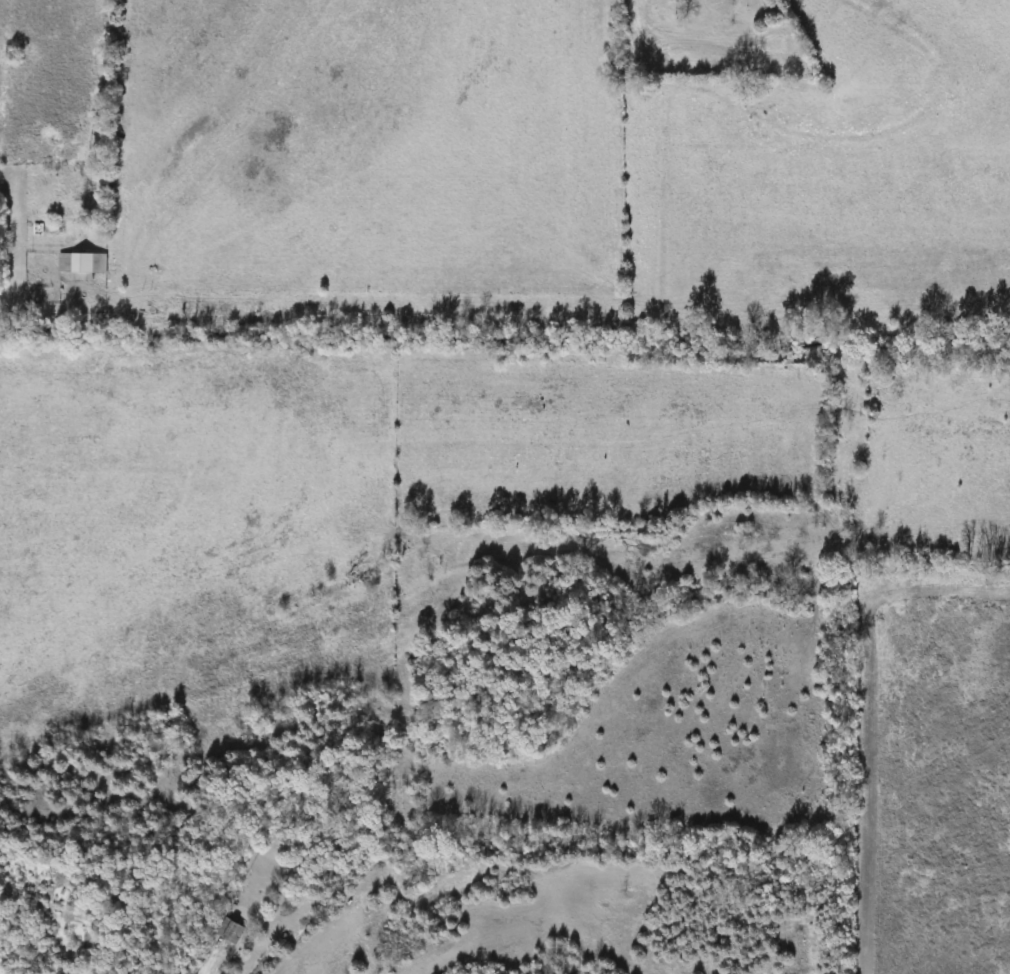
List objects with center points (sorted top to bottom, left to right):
park: (713, 43)
building: (81, 265)
building: (232, 931)

